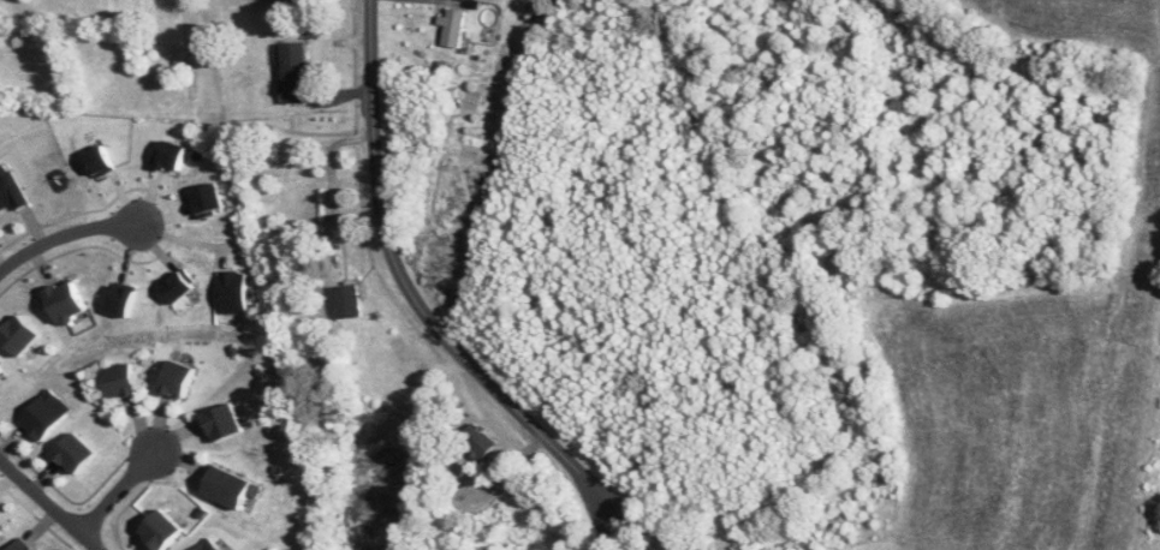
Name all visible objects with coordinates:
building: (293, 0)
building: (456, 28)
building: (301, 73)
road: (7, 120)
building: (337, 228)
road: (66, 237)
building: (63, 300)
building: (349, 301)
road: (430, 317)
building: (17, 334)
building: (176, 378)
building: (118, 379)
building: (42, 416)
power tower: (382, 417)
building: (222, 420)
building: (476, 441)
building: (72, 453)
building: (224, 485)
road: (117, 494)
road: (48, 503)
building: (157, 530)
building: (18, 545)
building: (207, 545)

